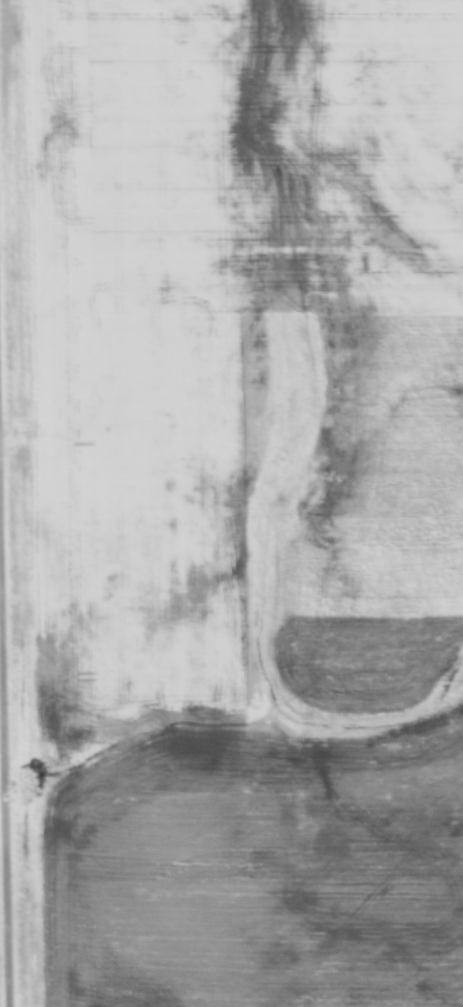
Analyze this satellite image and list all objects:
road: (2, 897)

